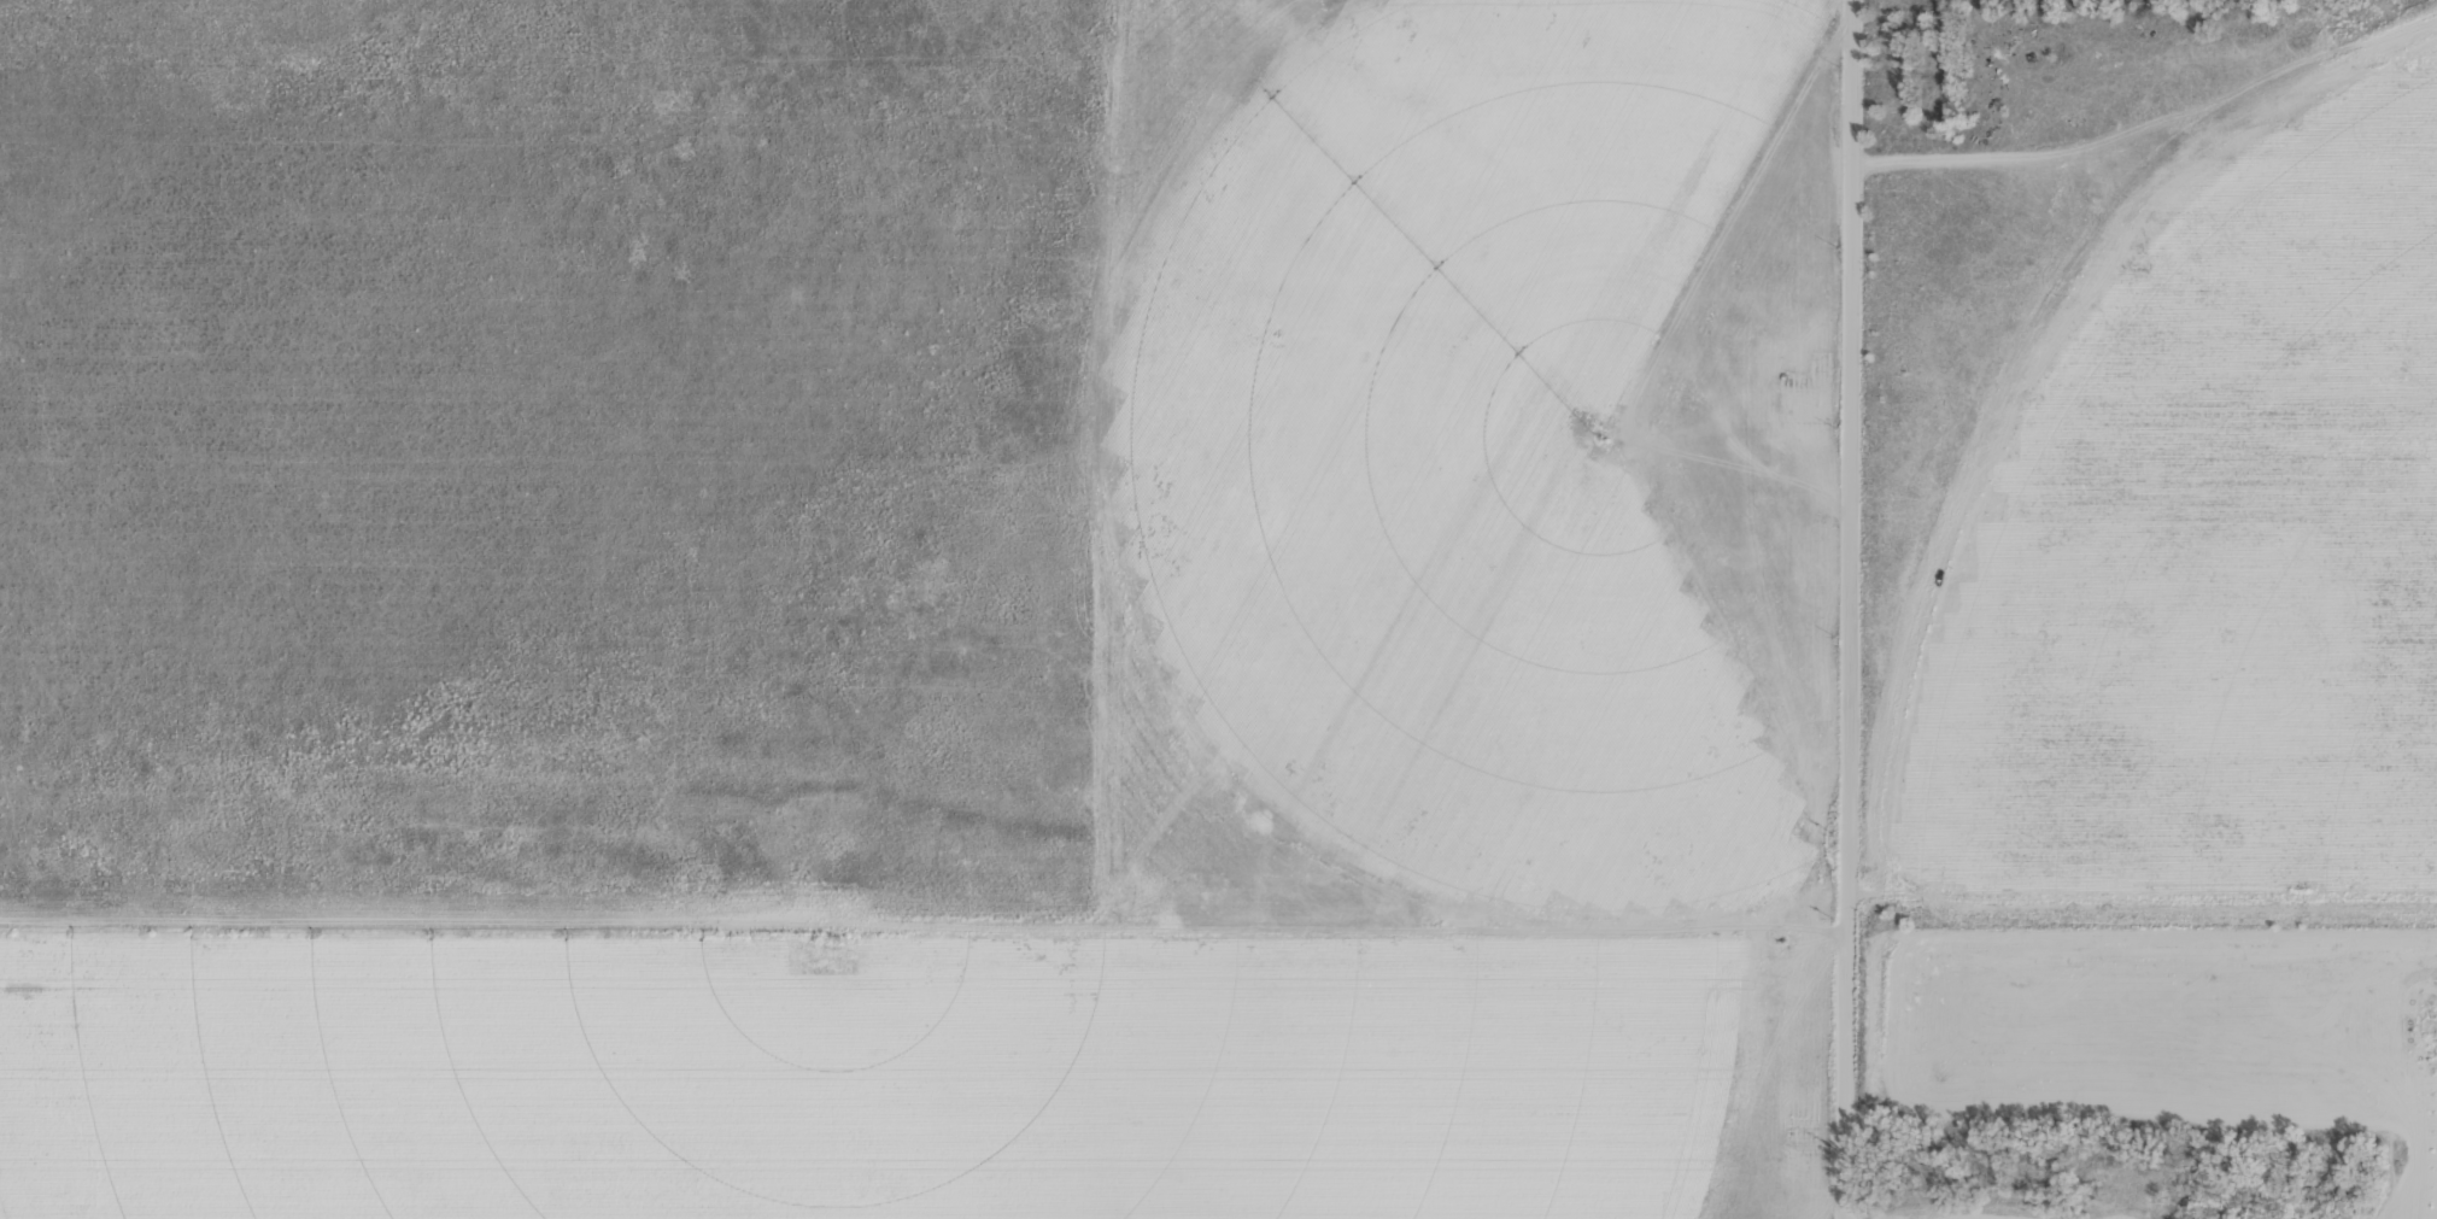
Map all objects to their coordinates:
crop: (1218, 609)
road: (1847, 609)

